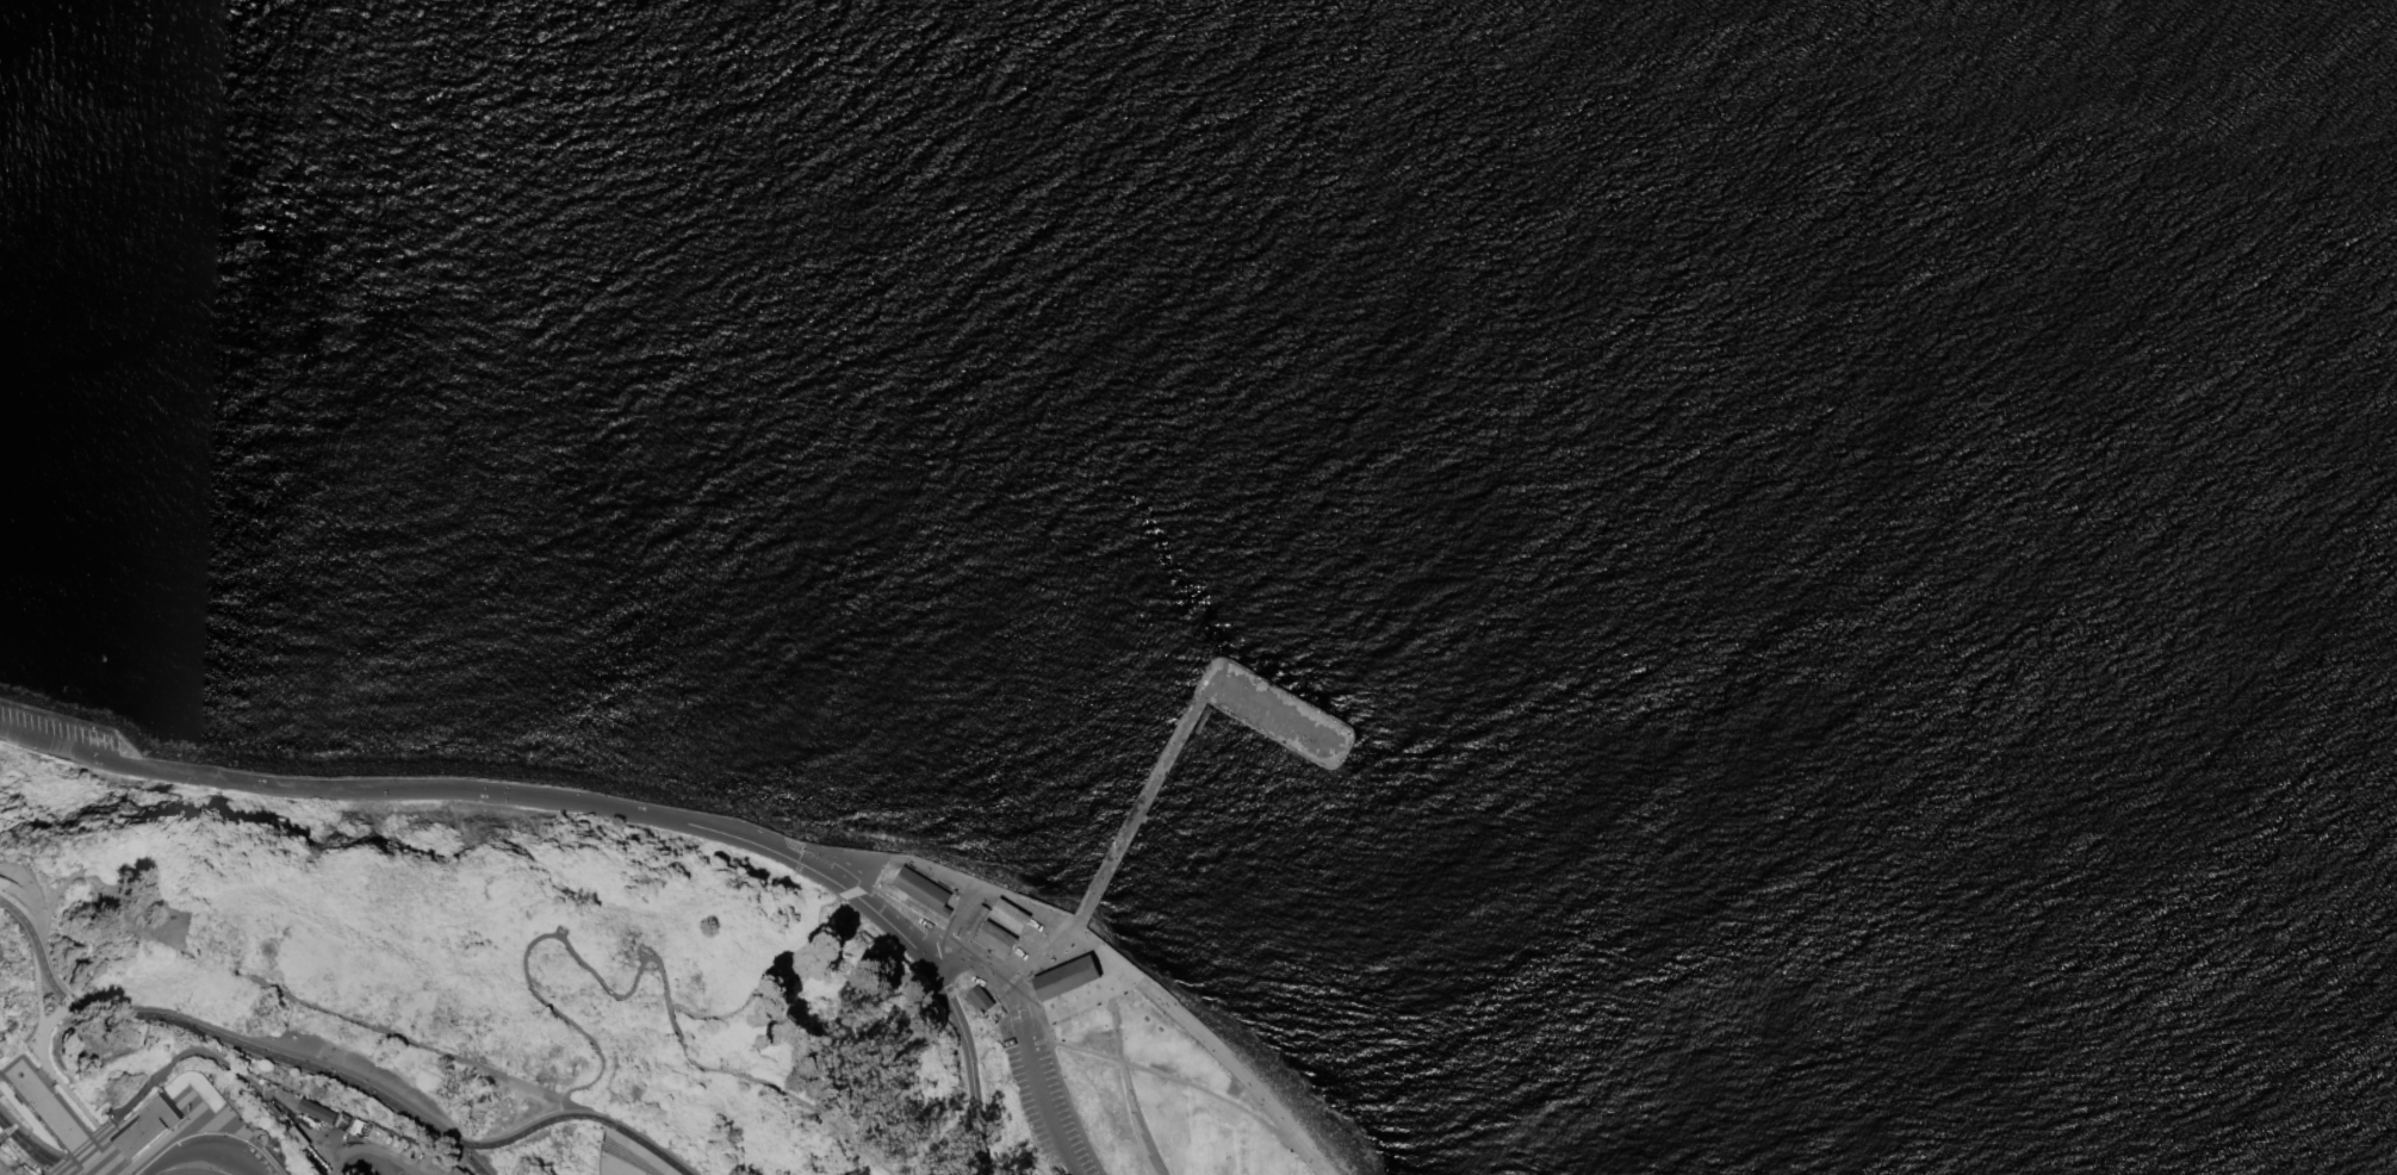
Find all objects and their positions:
road: (77, 725)
pier: (1350, 729)
parking lot: (58, 738)
road: (1180, 738)
road: (56, 745)
road: (126, 765)
road: (287, 789)
road: (614, 809)
pier: (1120, 843)
road: (830, 852)
road: (869, 872)
road: (819, 875)
road: (967, 882)
road: (4, 885)
building: (919, 890)
road: (21, 894)
road: (849, 894)
road: (29, 901)
road: (52, 902)
building: (1007, 914)
road: (23, 919)
building: (974, 919)
road: (950, 925)
road: (130, 926)
road: (889, 926)
road: (1074, 928)
building: (993, 937)
road: (536, 938)
road: (1094, 951)
road: (1029, 952)
road: (38, 958)
road: (994, 975)
road: (48, 977)
building: (1063, 977)
road: (1109, 980)
park: (565, 986)
building: (977, 999)
road: (1063, 1009)
road: (42, 1019)
road: (1113, 1030)
road: (399, 1039)
road: (682, 1049)
road: (267, 1055)
road: (968, 1064)
road: (48, 1068)
road: (225, 1068)
road: (1238, 1070)
road: (1174, 1080)
road: (35, 1084)
parking lot: (1043, 1094)
road: (809, 1107)
road: (578, 1109)
road: (1043, 1109)
road: (41, 1111)
building: (317, 1112)
road: (573, 1117)
road: (1130, 1119)
building: (343, 1123)
road: (174, 1124)
road: (206, 1124)
road: (42, 1126)
road: (11, 1129)
building: (143, 1130)
road: (32, 1137)
building: (296, 1137)
road: (620, 1138)
road: (27, 1143)
road: (82, 1150)
road: (349, 1150)
road: (111, 1152)
road: (195, 1158)
parking lot: (209, 1158)
road: (467, 1160)
building: (427, 1161)
road: (396, 1163)
road: (384, 1164)
road: (66, 1169)
road: (182, 1173)
road: (613, 1173)
road: (0, 1174)

